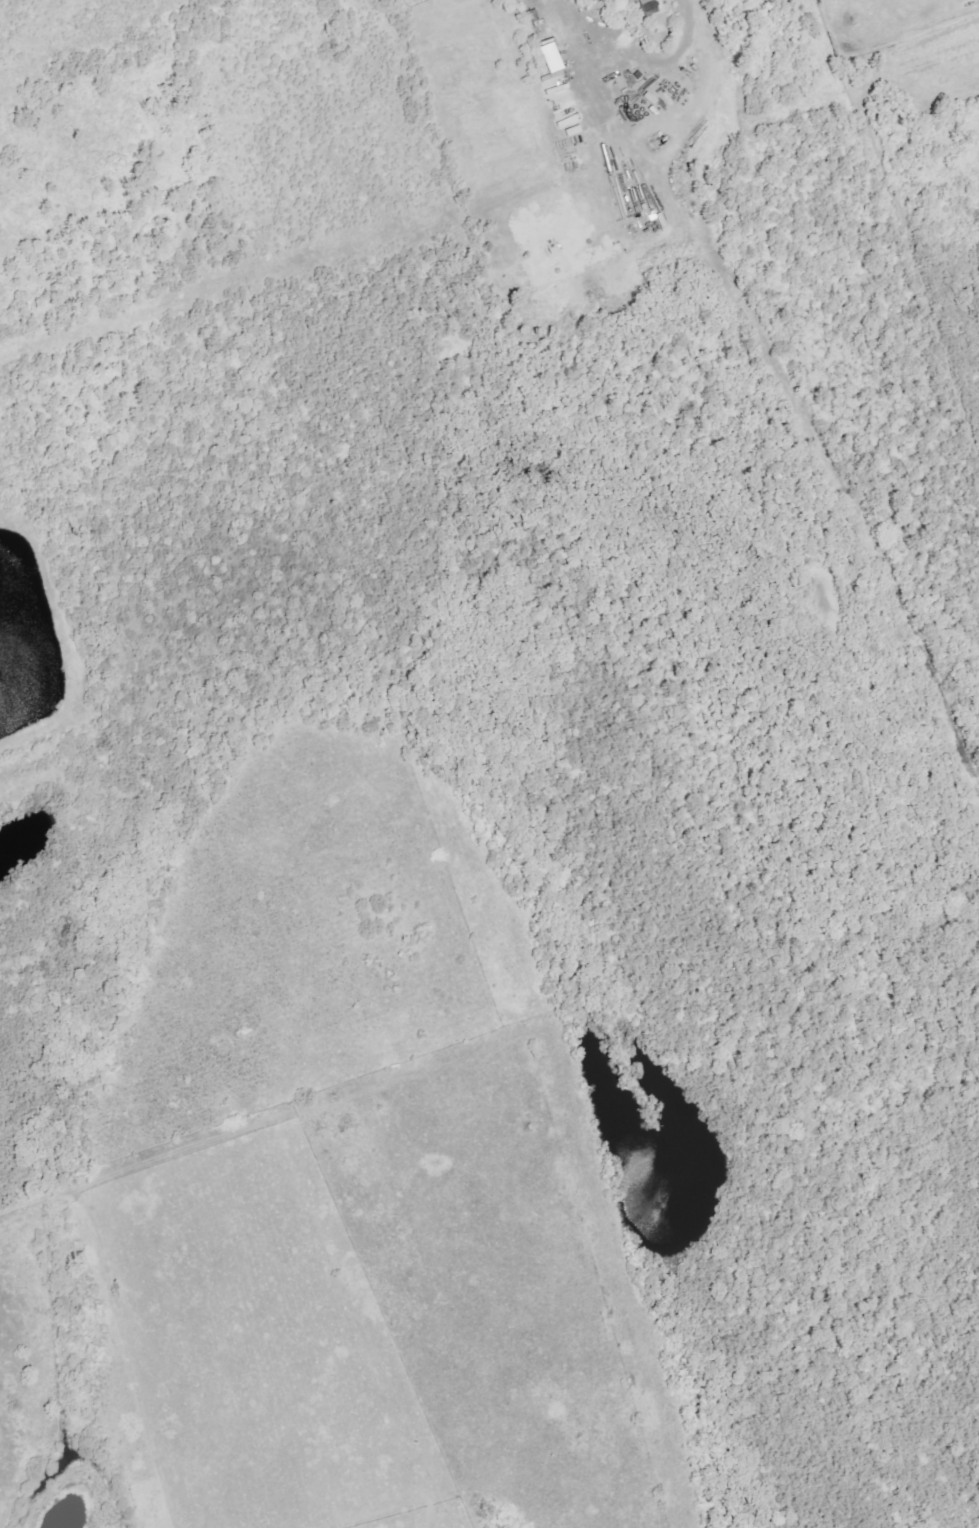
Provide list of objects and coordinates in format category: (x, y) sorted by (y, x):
building: (651, 7)
building: (554, 58)

